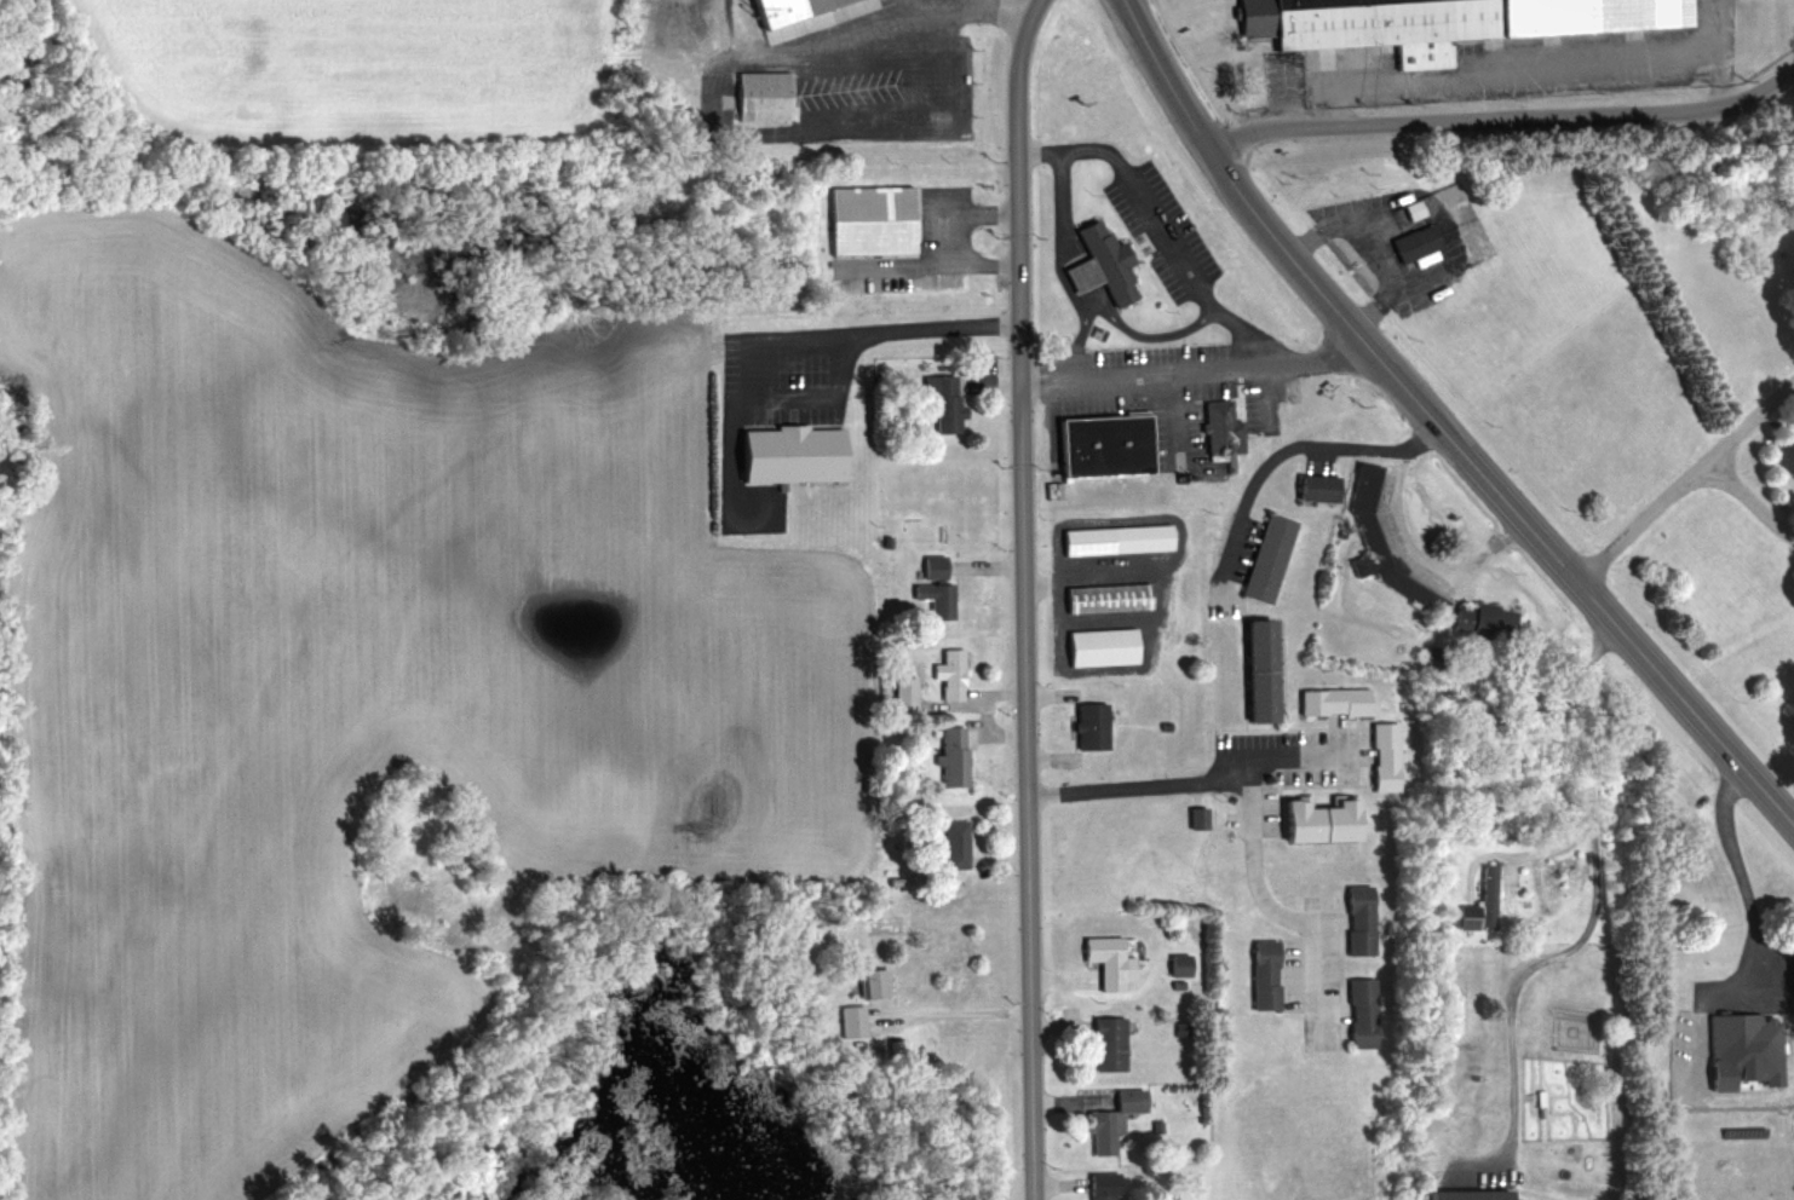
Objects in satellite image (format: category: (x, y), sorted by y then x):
road: (1014, 6)
building: (786, 8)
building: (1439, 21)
road: (841, 42)
road: (1717, 52)
road: (1506, 71)
parking lot: (849, 87)
building: (761, 94)
road: (1503, 117)
road: (829, 126)
building: (1409, 209)
building: (872, 219)
road: (1152, 225)
parking lot: (1158, 226)
road: (1056, 233)
road: (961, 240)
building: (1413, 240)
building: (1096, 259)
road: (795, 328)
road: (1146, 336)
road: (1074, 342)
road: (1191, 368)
parking lot: (782, 380)
road: (987, 385)
parking lot: (1166, 386)
building: (939, 398)
building: (1217, 426)
road: (1437, 427)
road: (1298, 442)
building: (1103, 444)
building: (792, 452)
road: (1684, 479)
building: (1312, 485)
road: (1748, 501)
building: (1111, 537)
building: (884, 538)
building: (1379, 543)
road: (1419, 552)
building: (1265, 554)
road: (982, 565)
building: (933, 584)
building: (1105, 595)
road: (1019, 598)
building: (1478, 615)
building: (1098, 645)
building: (1430, 657)
building: (913, 665)
building: (1254, 667)
building: (947, 670)
building: (899, 690)
crop: (351, 698)
building: (1329, 699)
road: (982, 710)
building: (1088, 723)
road: (1070, 727)
building: (916, 729)
building: (1381, 750)
building: (948, 755)
road: (1296, 756)
parking lot: (1275, 768)
road: (1244, 794)
building: (1315, 817)
building: (950, 841)
road: (1518, 849)
road: (997, 858)
road: (1741, 869)
building: (891, 878)
road: (1594, 878)
building: (1483, 893)
building: (1464, 913)
building: (1356, 916)
building: (1104, 959)
building: (1175, 963)
building: (1259, 974)
building: (868, 981)
building: (1173, 982)
road: (1094, 993)
road: (953, 1009)
building: (1357, 1011)
building: (847, 1020)
road: (1048, 1026)
building: (1741, 1038)
building: (1102, 1039)
building: (895, 1046)
road: (1063, 1098)
building: (1108, 1117)
building: (1151, 1125)
road: (1053, 1182)
building: (1098, 1184)
building: (1466, 1194)

